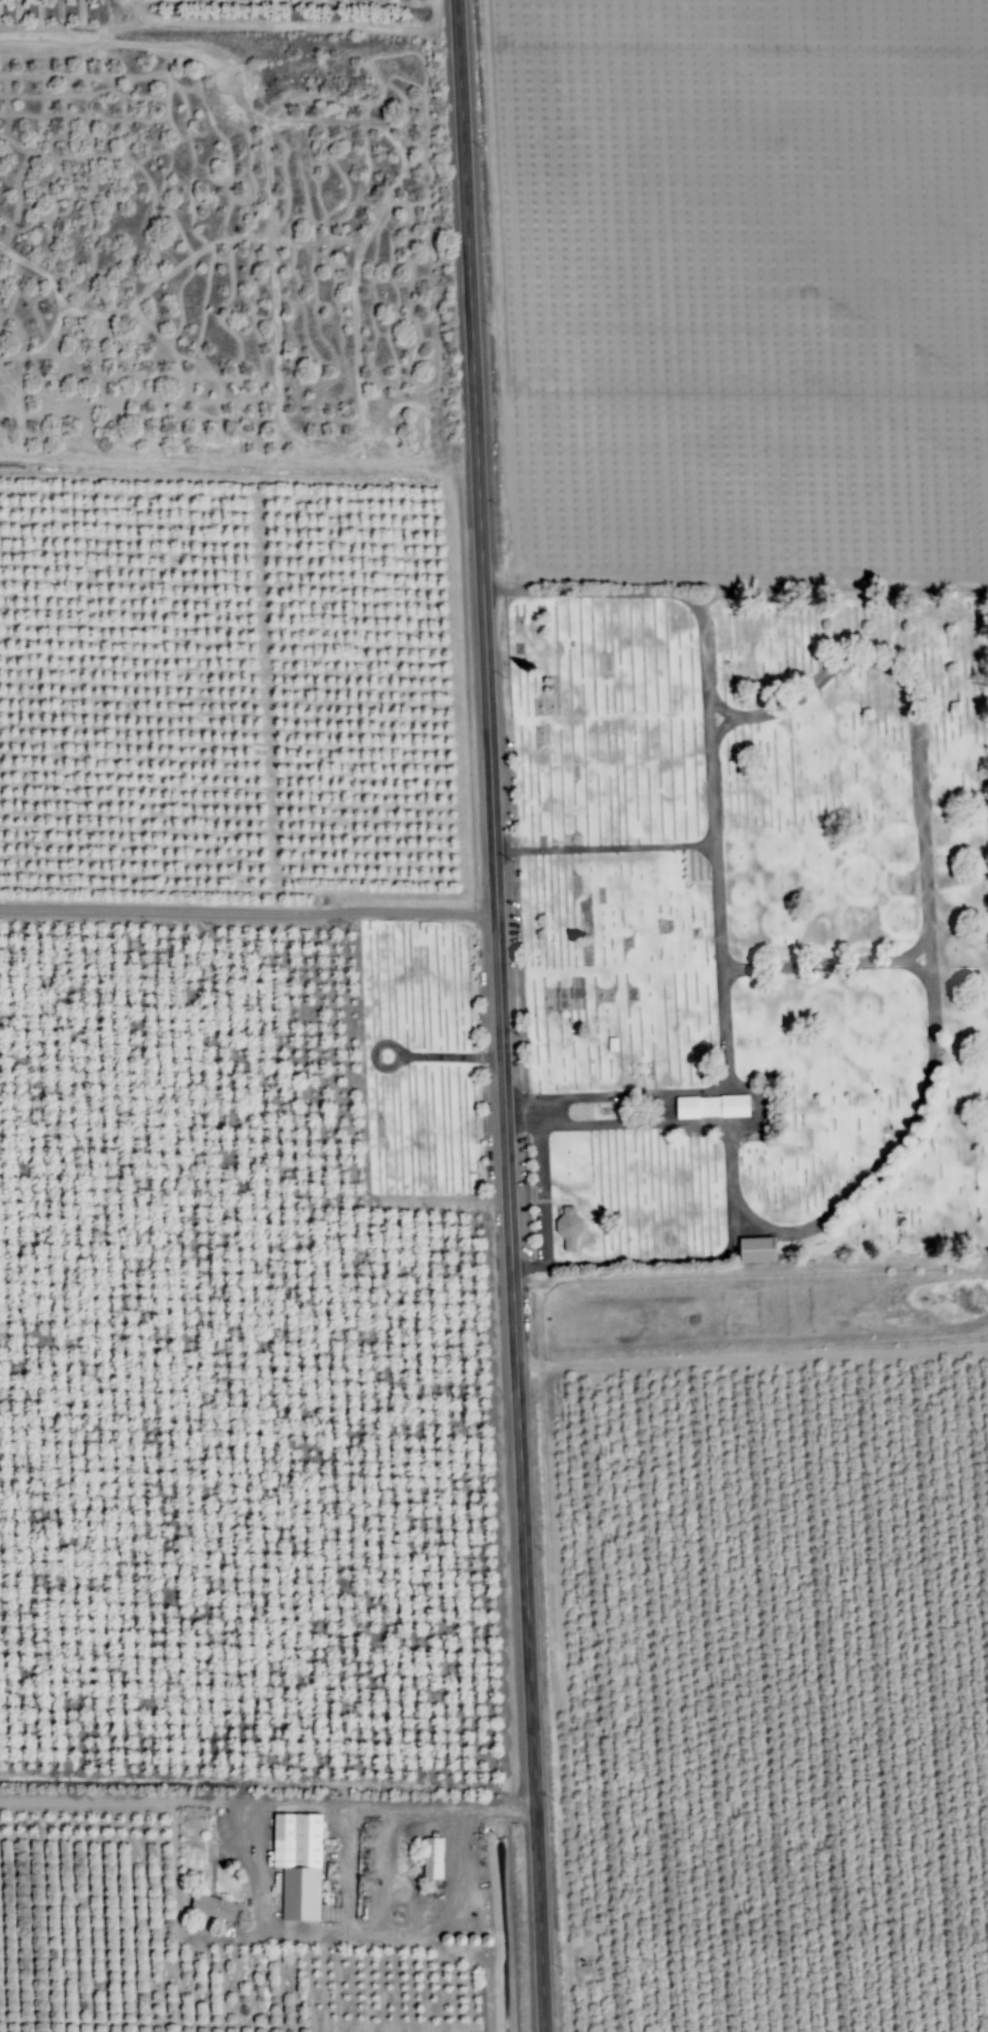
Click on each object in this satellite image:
road: (662, 591)
road: (252, 910)
park: (750, 930)
road: (827, 963)
road: (509, 1015)
park: (420, 1060)
road: (458, 1060)
road: (383, 1063)
building: (708, 1106)
road: (623, 1108)
building: (466, 1144)
road: (894, 1144)
building: (565, 1229)
building: (751, 1249)
building: (429, 1858)
building: (295, 1864)
building: (210, 1907)

